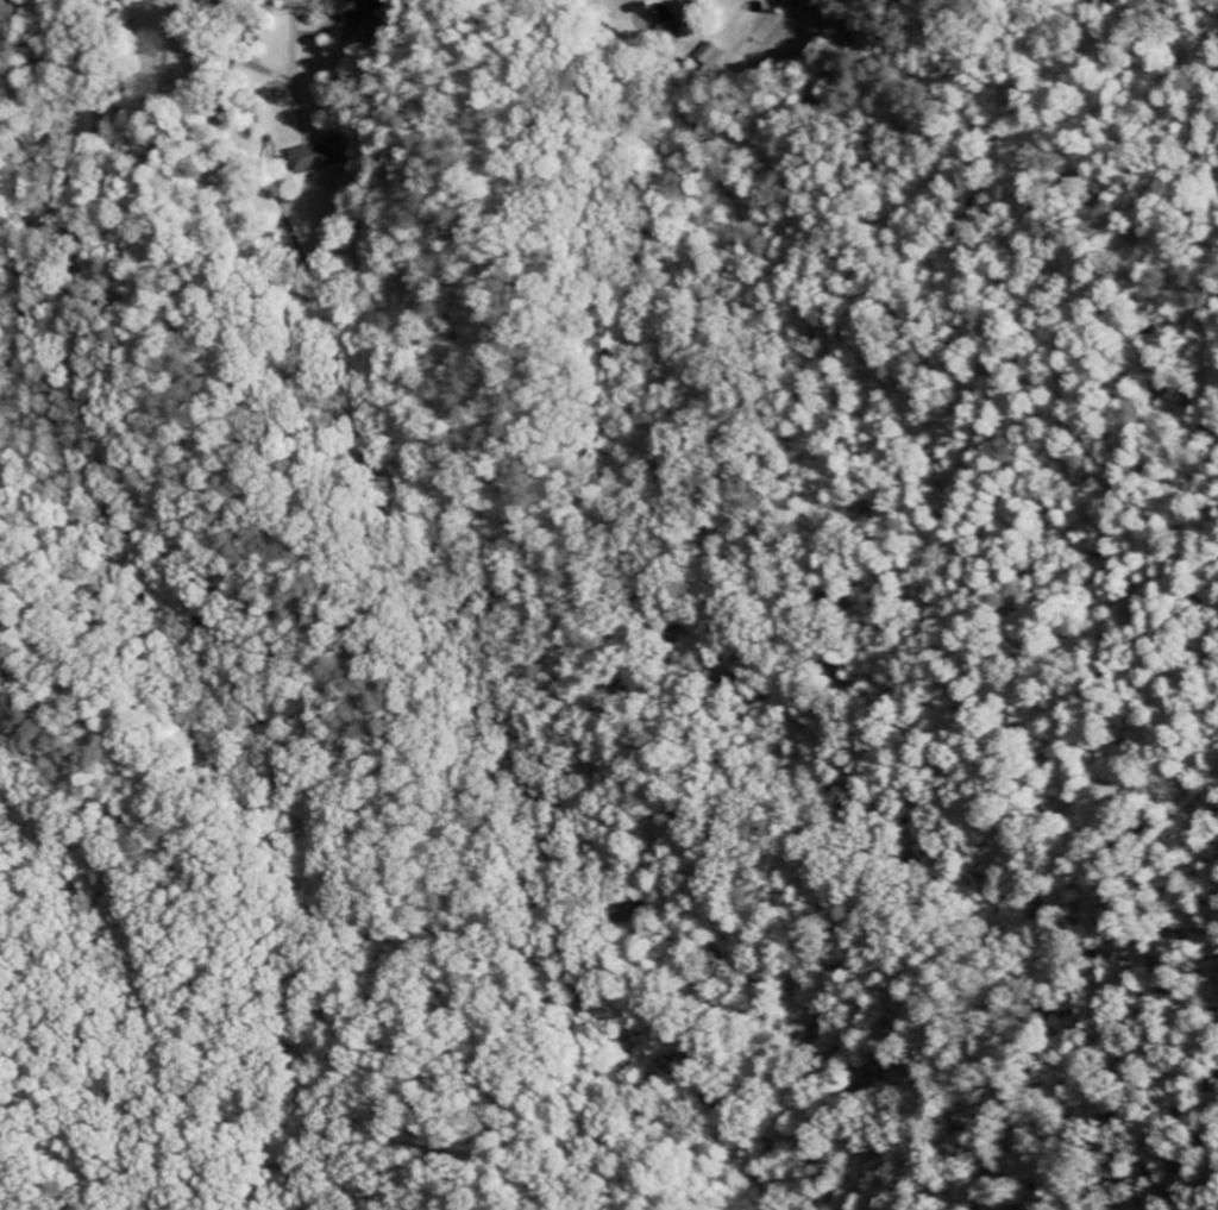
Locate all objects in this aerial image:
building: (352, 10)
building: (670, 23)
road: (287, 40)
park: (184, 54)
building: (712, 57)
building: (314, 158)

